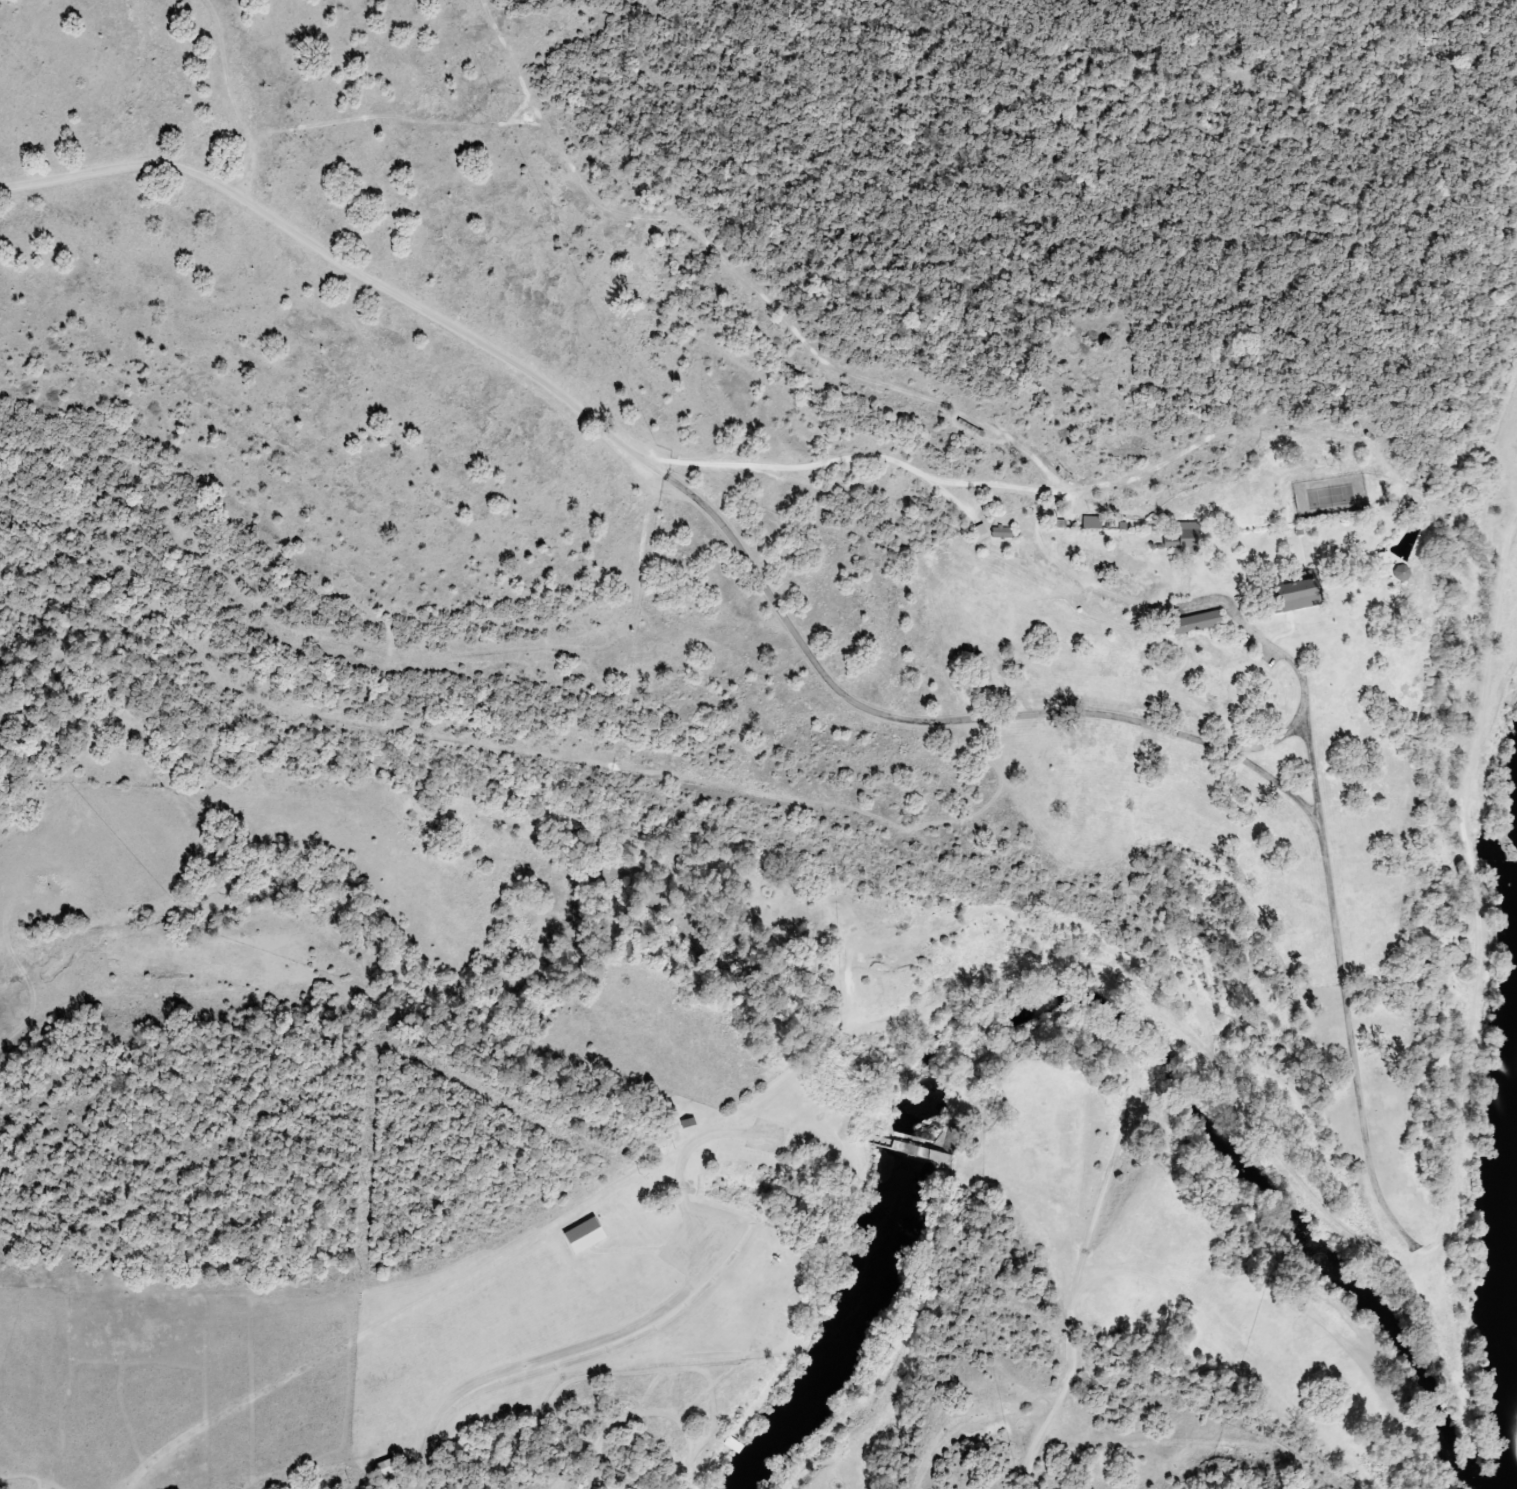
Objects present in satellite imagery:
road: (338, 265)
building: (1093, 523)
building: (981, 530)
building: (1002, 533)
building: (1185, 539)
building: (1303, 601)
building: (1198, 622)
road: (1021, 714)
building: (587, 1236)
river: (1498, 1302)
road: (642, 1322)
building: (386, 1468)

